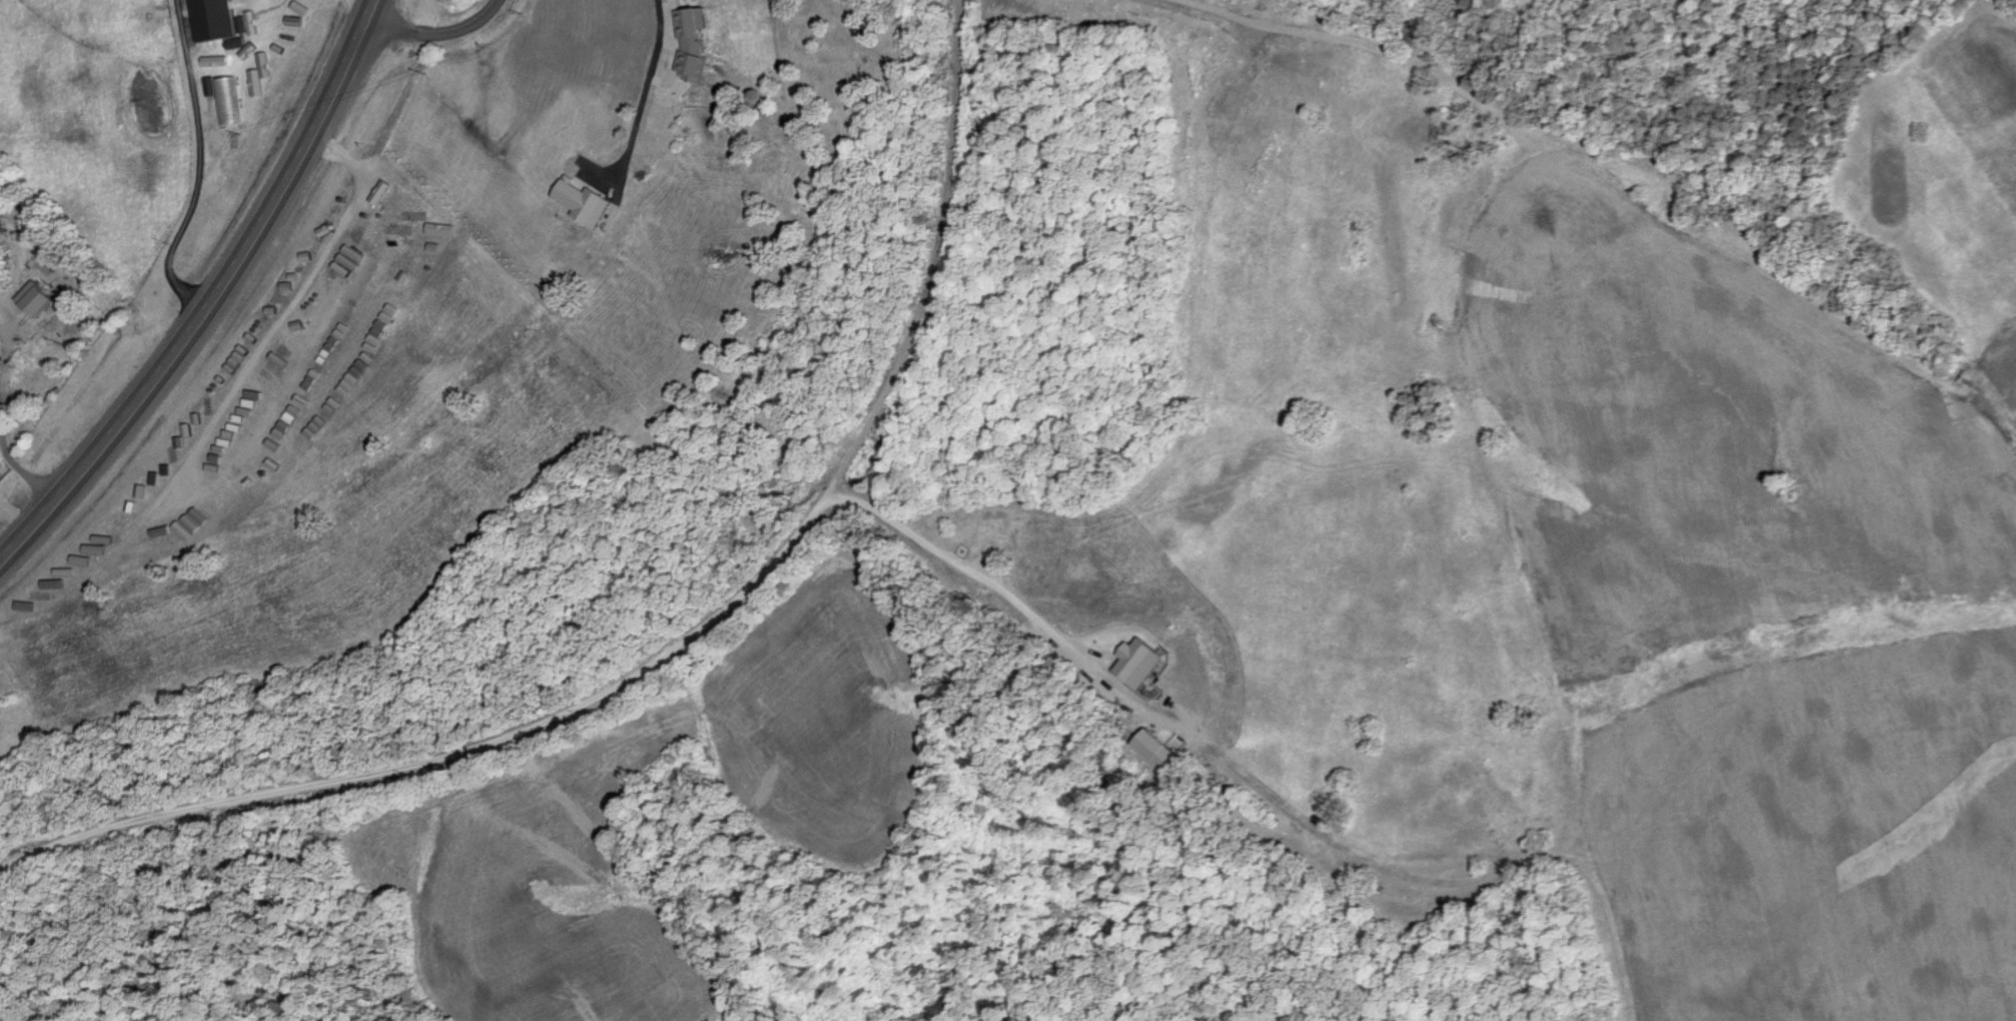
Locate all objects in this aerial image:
building: (222, 23)
road: (437, 31)
building: (696, 40)
road: (650, 86)
building: (586, 202)
road: (214, 299)
building: (140, 511)
building: (1144, 664)
road: (485, 719)
building: (1159, 750)

